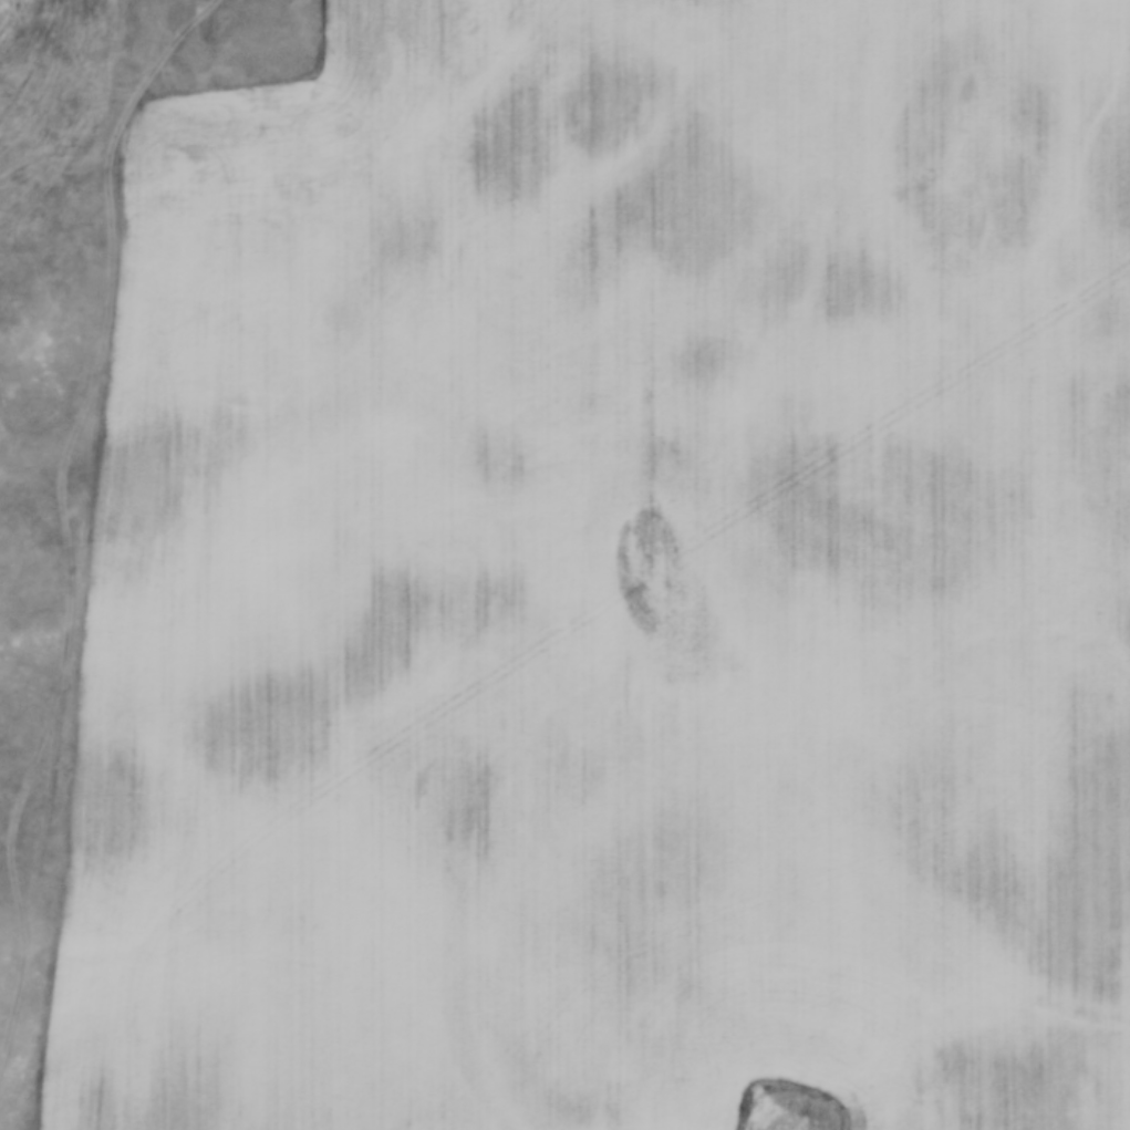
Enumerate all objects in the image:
road: (92, 525)
building: (283, 564)

